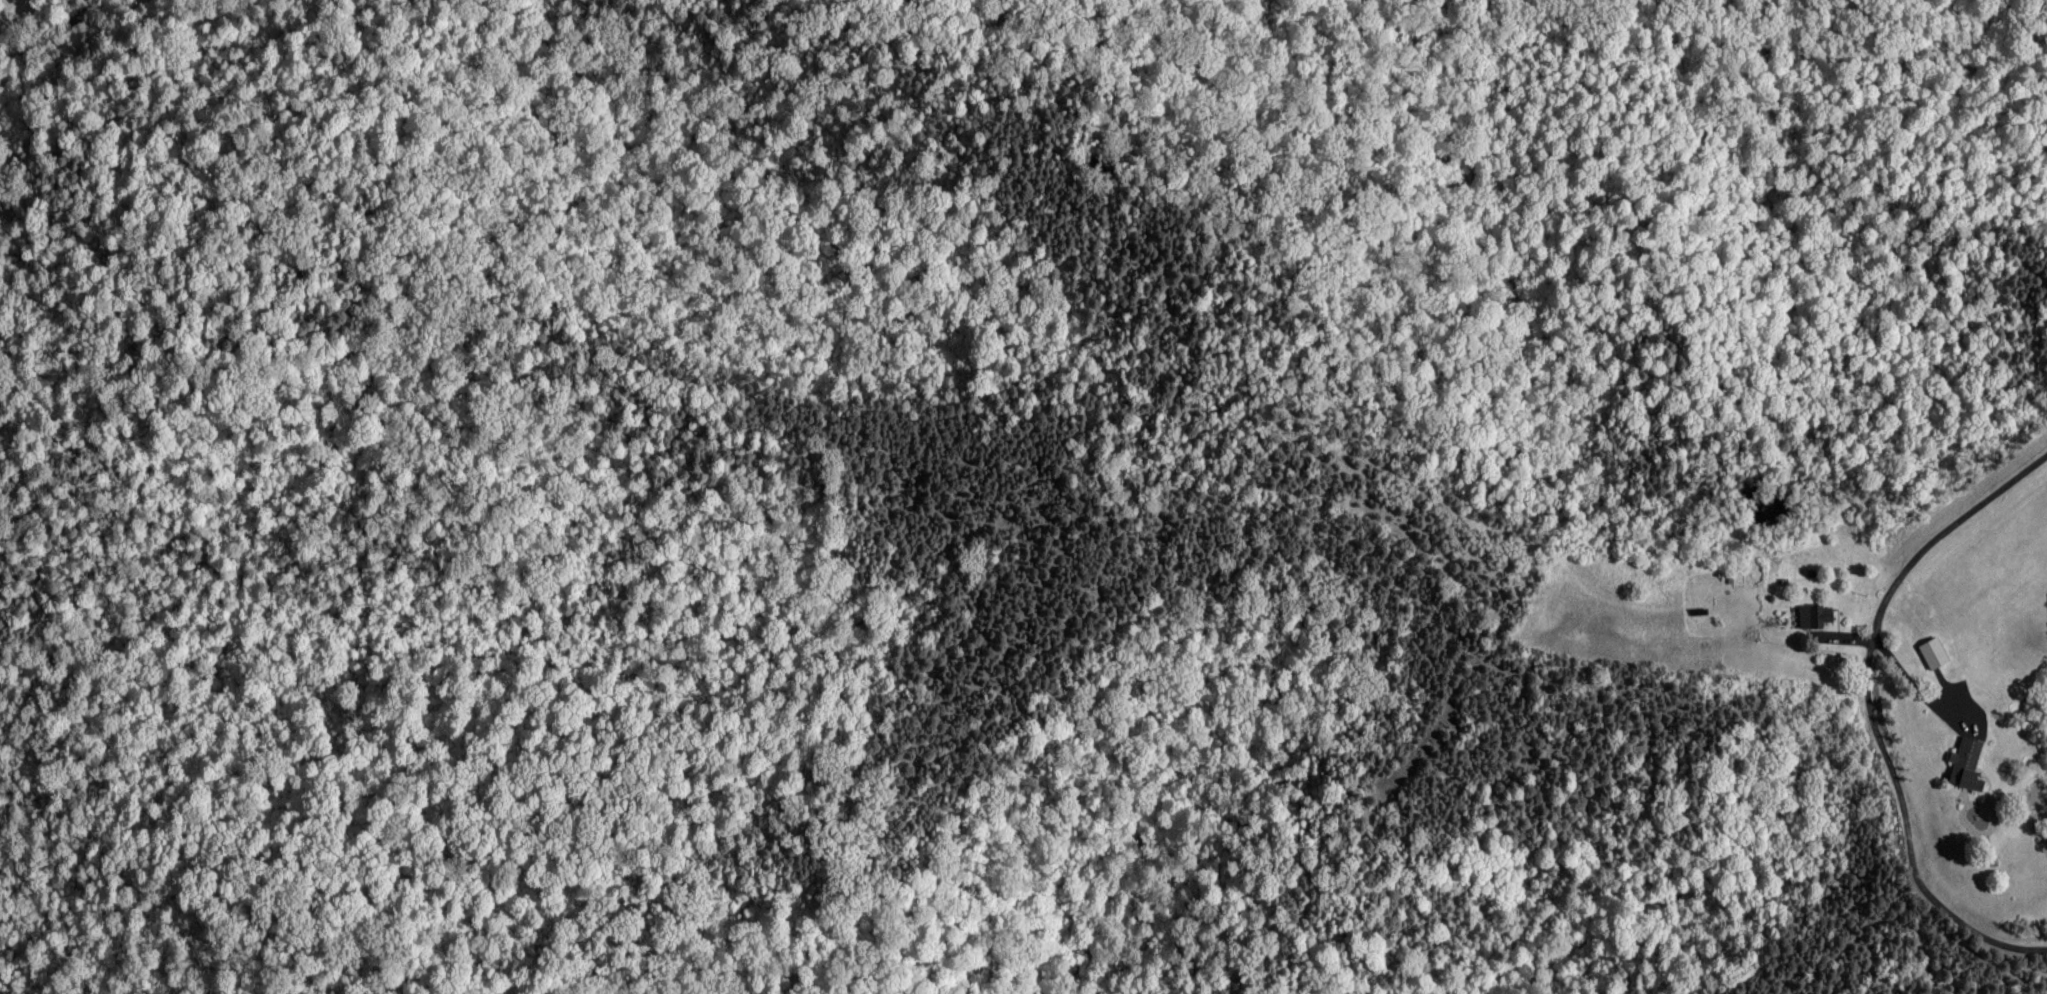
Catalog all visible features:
building: (1934, 653)
road: (1871, 731)

